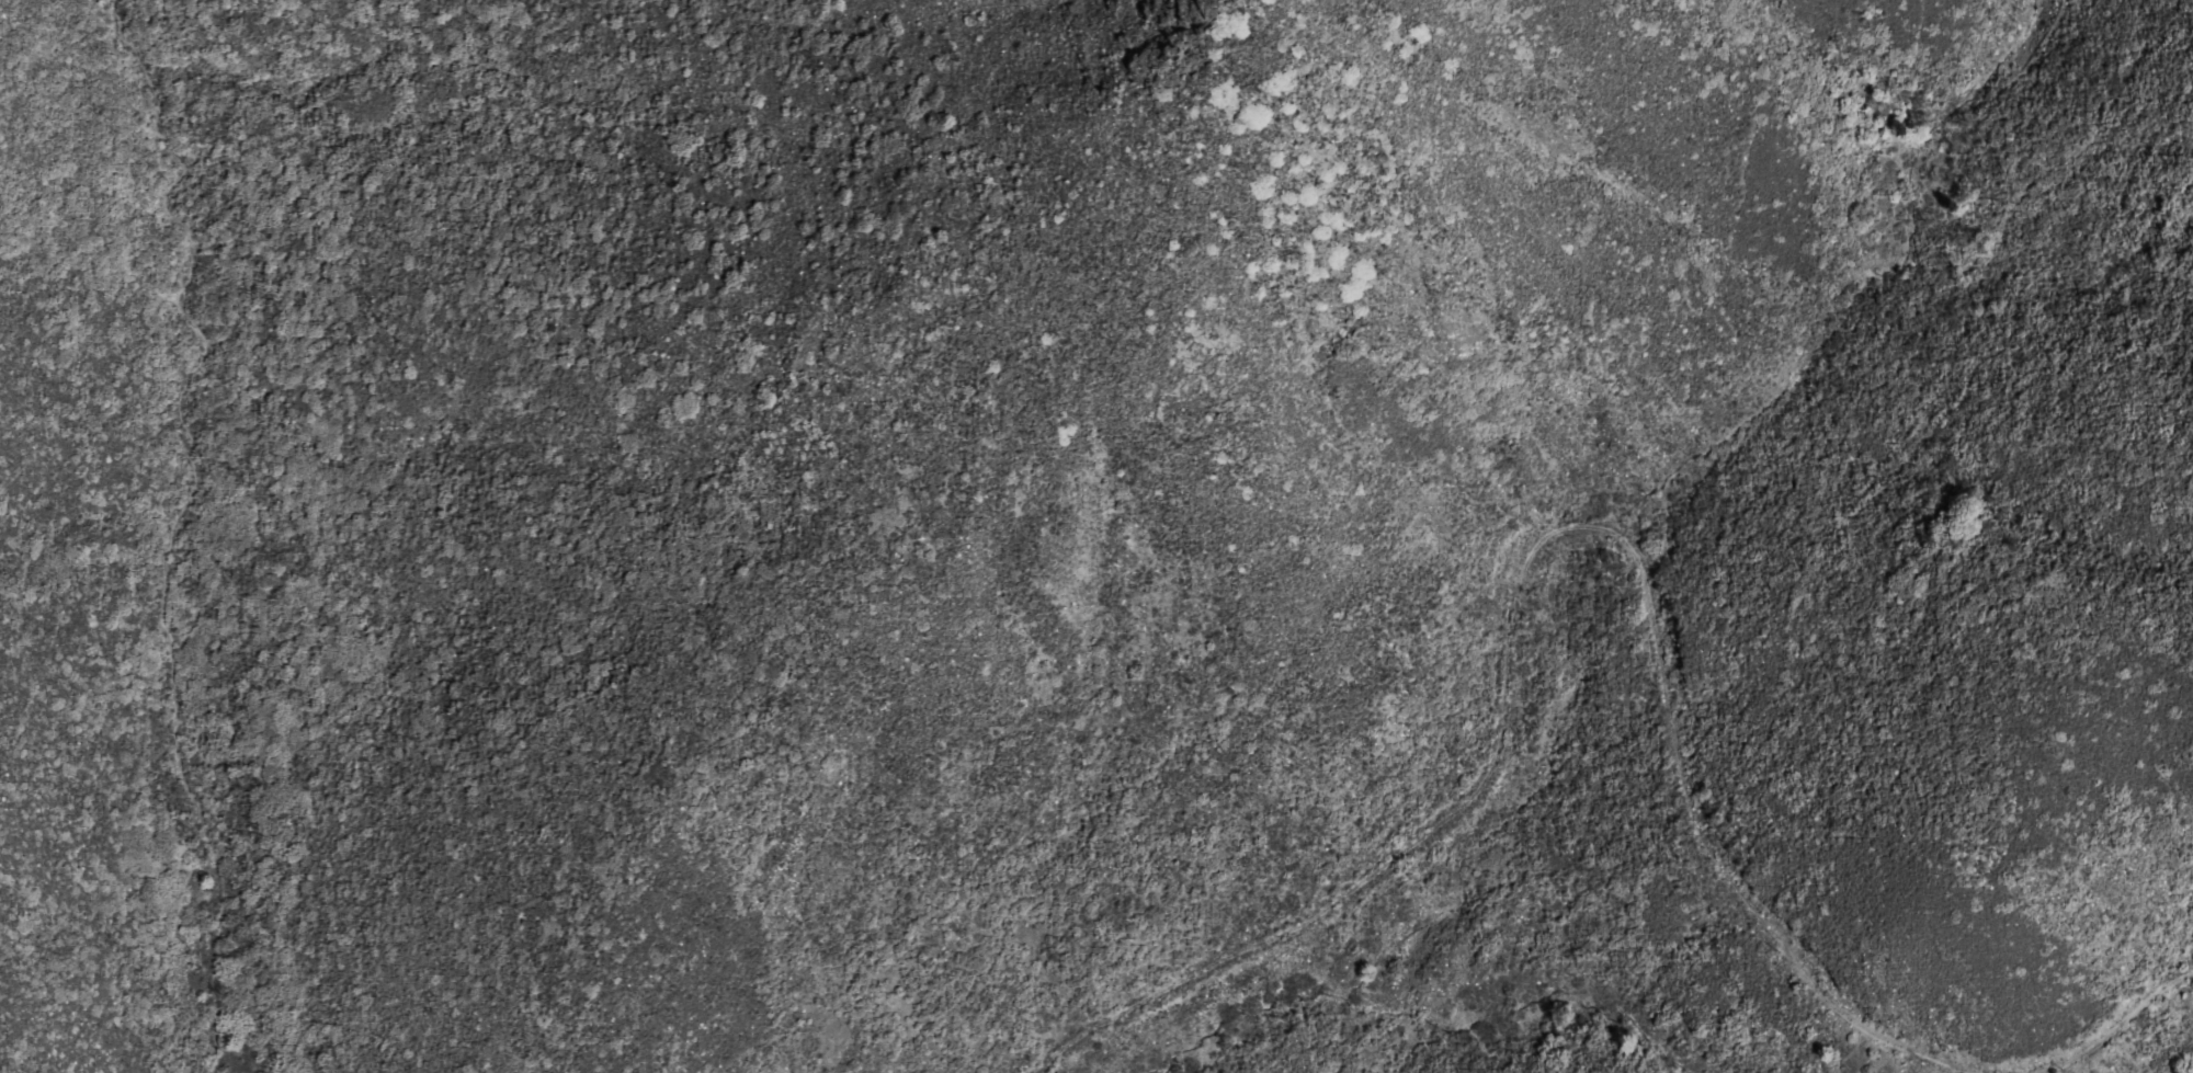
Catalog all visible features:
road: (174, 511)
road: (1534, 543)
road: (2120, 1021)

